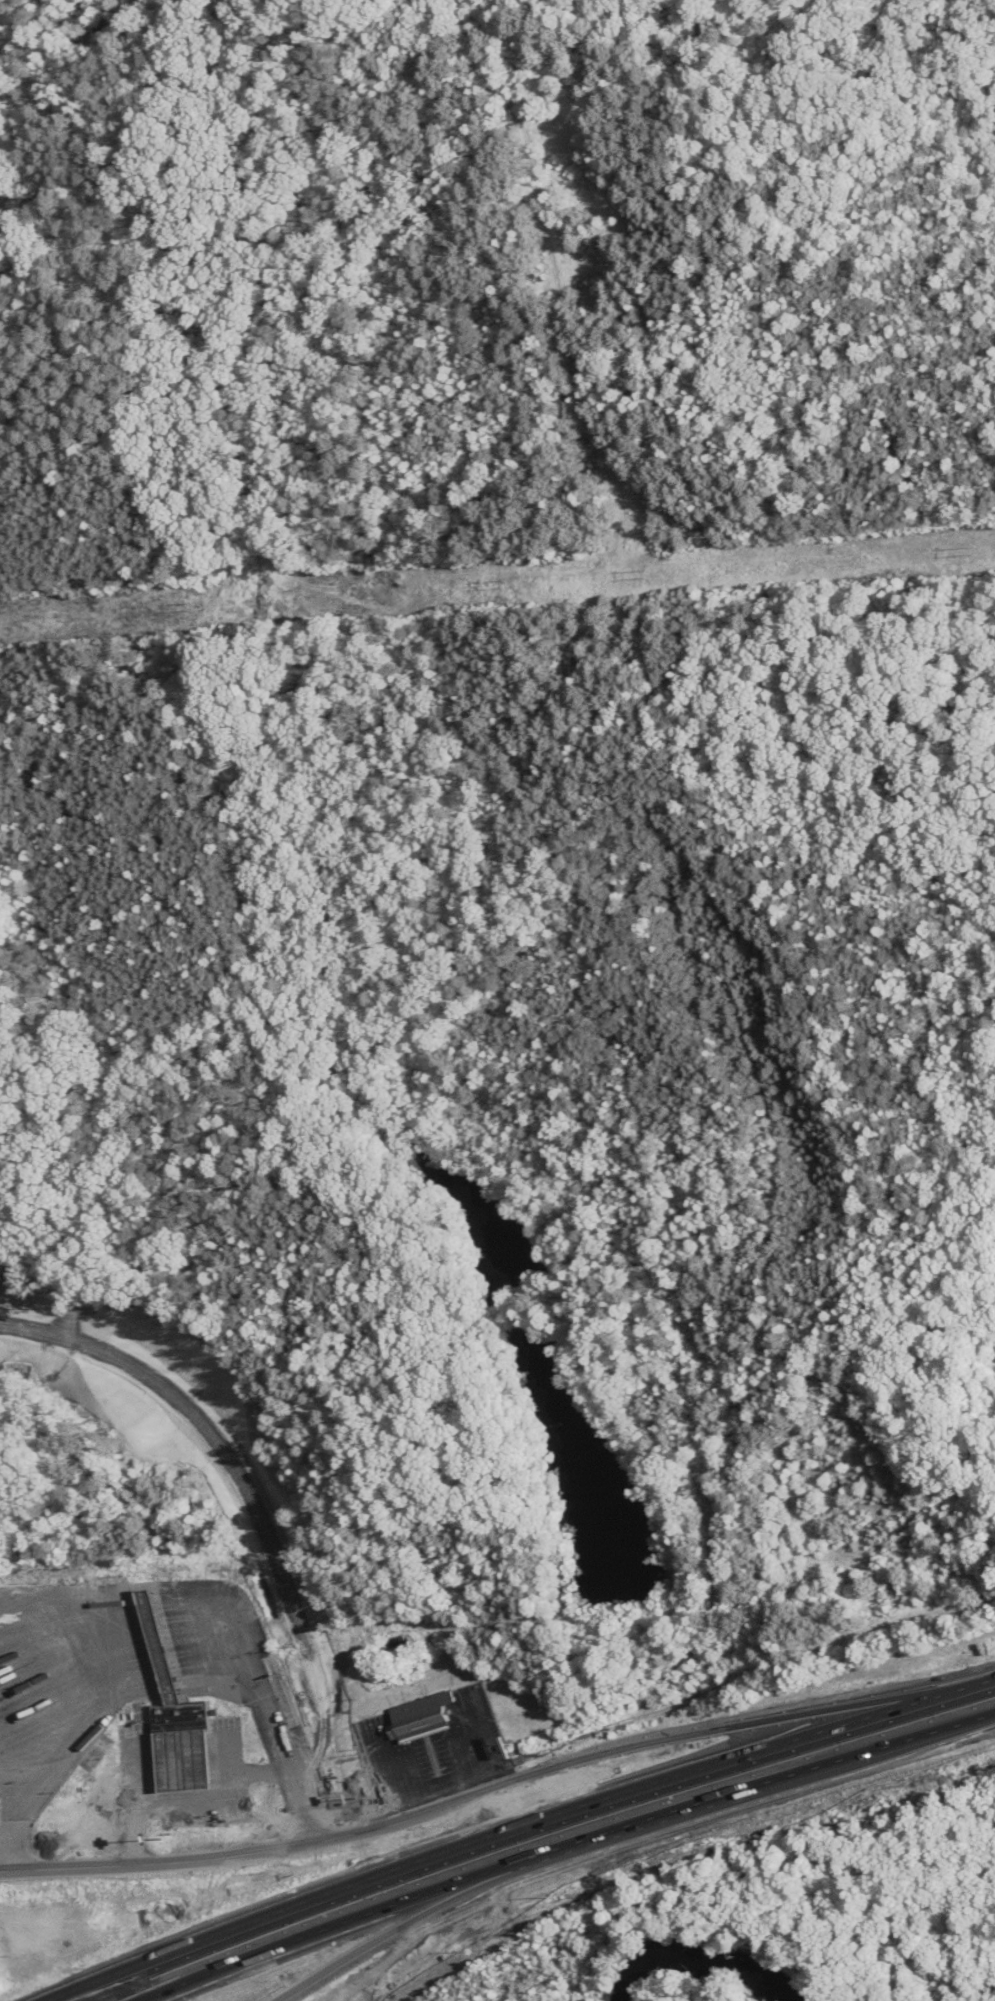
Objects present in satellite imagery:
power tower: (967, 547)
power tower: (642, 573)
power tower: (500, 581)
power tower: (187, 602)
road: (246, 1459)
building: (173, 1715)
building: (419, 1716)
road: (415, 1771)
road: (497, 1776)
road: (509, 1824)
road: (564, 1846)
road: (597, 1848)

